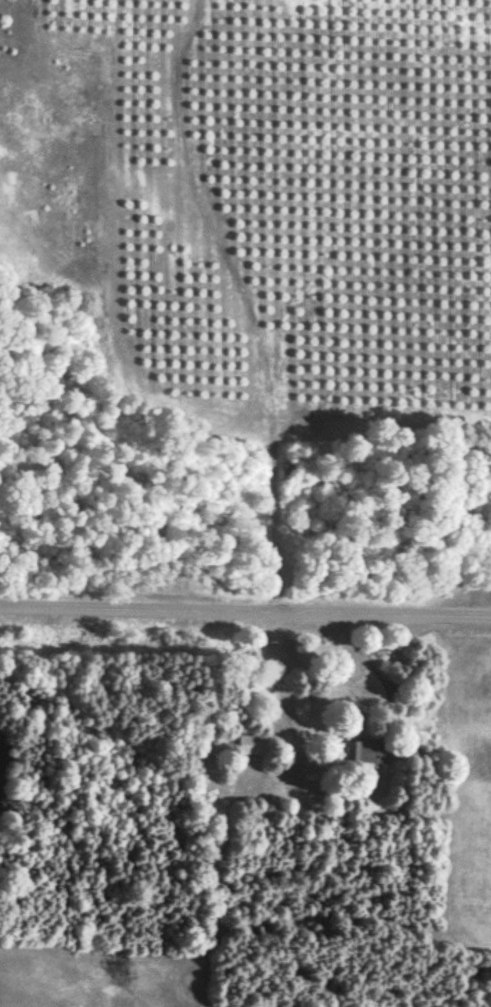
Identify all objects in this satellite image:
road: (245, 606)
building: (251, 745)
building: (368, 752)

